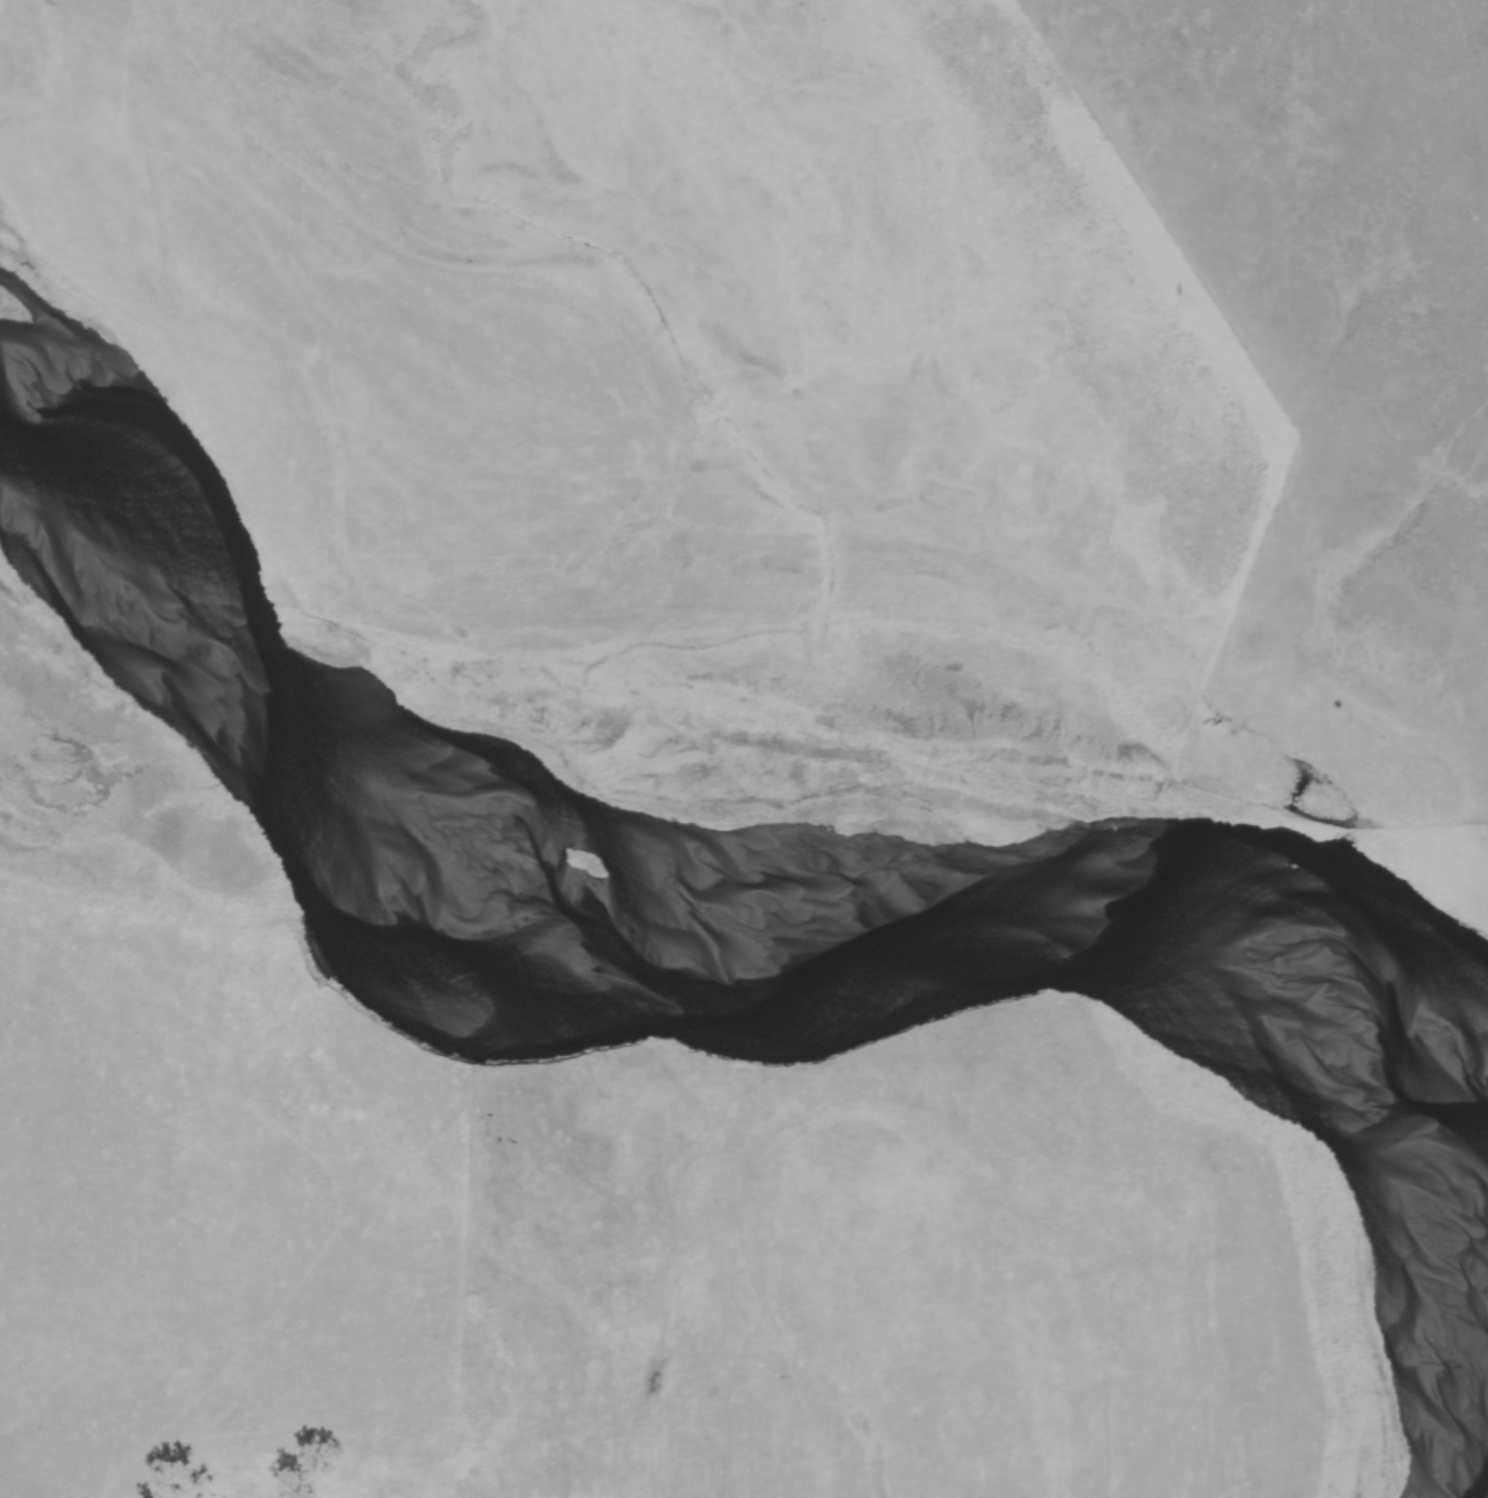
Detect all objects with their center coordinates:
river: (723, 910)
river: (1486, 1495)

